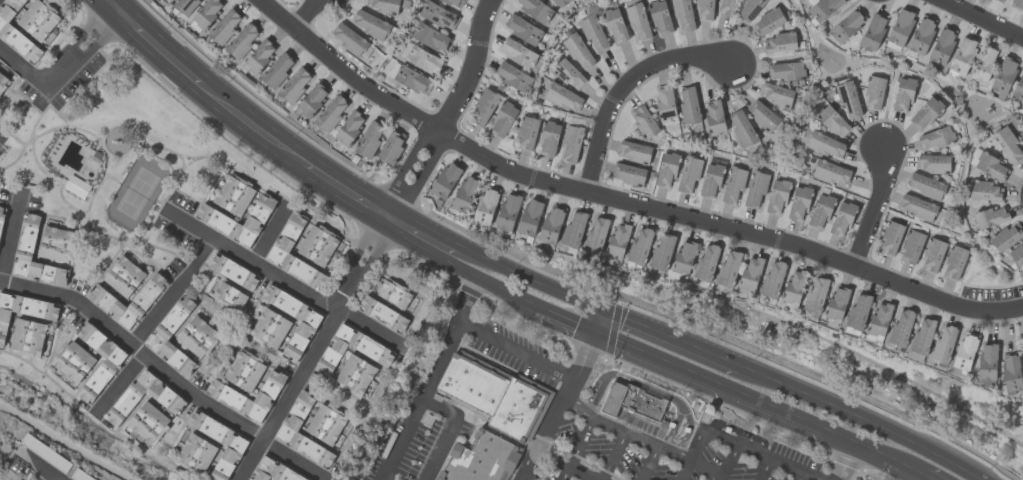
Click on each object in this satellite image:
building: (1003, 1)
building: (561, 2)
building: (454, 3)
road: (111, 5)
building: (1017, 5)
building: (185, 6)
building: (383, 6)
building: (726, 7)
rooftop solar panel: (817, 7)
building: (535, 9)
building: (750, 9)
building: (823, 9)
building: (704, 10)
building: (207, 12)
road: (306, 14)
rooftop solar panel: (454, 14)
building: (683, 15)
building: (438, 16)
building: (660, 18)
rooftop solar panel: (439, 19)
building: (39, 20)
road: (980, 20)
building: (637, 21)
rooftop solar panel: (451, 22)
building: (767, 22)
building: (370, 24)
building: (615, 25)
building: (846, 26)
building: (901, 27)
building: (224, 28)
building: (523, 30)
building: (16, 33)
building: (873, 33)
building: (593, 34)
building: (921, 36)
building: (430, 38)
building: (349, 39)
building: (242, 41)
building: (780, 43)
building: (942, 46)
road: (81, 47)
road: (159, 48)
building: (578, 52)
building: (520, 55)
building: (260, 56)
building: (962, 56)
building: (423, 60)
building: (984, 65)
road: (22, 67)
building: (278, 70)
building: (786, 71)
building: (568, 74)
building: (1004, 76)
building: (513, 77)
building: (412, 80)
building: (3, 81)
building: (295, 85)
road: (625, 88)
building: (1019, 88)
building: (874, 92)
building: (776, 95)
building: (903, 95)
building: (563, 97)
rooftop solar panel: (845, 97)
building: (312, 99)
building: (848, 99)
building: (665, 102)
building: (688, 105)
building: (483, 107)
building: (331, 113)
road: (452, 113)
building: (925, 113)
building: (762, 116)
building: (714, 117)
building: (502, 120)
building: (832, 121)
building: (644, 122)
road: (252, 126)
building: (350, 128)
building: (742, 129)
building: (1022, 130)
building: (527, 133)
building: (935, 138)
building: (369, 139)
building: (549, 139)
building: (571, 144)
building: (826, 145)
building: (1008, 145)
building: (392, 147)
building: (635, 152)
building: (933, 163)
building: (991, 167)
building: (666, 170)
building: (831, 173)
building: (629, 174)
building: (688, 175)
building: (446, 180)
building: (711, 181)
building: (733, 186)
building: (925, 186)
building: (76, 187)
building: (755, 190)
road: (347, 191)
building: (984, 191)
building: (234, 195)
building: (465, 195)
building: (777, 197)
building: (799, 204)
road: (619, 205)
building: (486, 206)
building: (917, 207)
building: (820, 211)
road: (876, 211)
building: (508, 212)
building: (1, 213)
building: (530, 218)
building: (990, 218)
building: (842, 219)
building: (218, 222)
building: (551, 226)
building: (574, 230)
road: (271, 234)
building: (596, 235)
building: (287, 237)
road: (423, 237)
building: (1006, 237)
building: (891, 238)
building: (26, 240)
building: (619, 240)
road: (10, 241)
building: (56, 244)
building: (317, 245)
building: (640, 247)
building: (912, 247)
building: (662, 253)
building: (933, 256)
building: (1017, 256)
building: (684, 258)
building: (954, 263)
road: (365, 264)
building: (706, 264)
building: (729, 268)
building: (233, 272)
building: (751, 274)
building: (123, 276)
road: (282, 278)
road: (530, 278)
building: (773, 280)
road: (492, 285)
building: (795, 287)
road: (174, 294)
building: (815, 295)
building: (397, 296)
building: (228, 297)
building: (106, 303)
building: (837, 304)
building: (26, 308)
traffic signals: (604, 310)
building: (858, 312)
building: (383, 315)
building: (880, 319)
road: (567, 320)
road: (600, 321)
building: (170, 323)
building: (269, 329)
building: (901, 329)
traffic signals: (597, 333)
building: (922, 336)
building: (198, 337)
road: (606, 337)
building: (27, 338)
building: (300, 338)
road: (670, 338)
building: (2, 341)
building: (944, 345)
road: (136, 349)
building: (352, 350)
road: (519, 352)
building: (965, 352)
building: (1022, 352)
building: (73, 362)
building: (987, 362)
building: (244, 371)
building: (1011, 374)
building: (355, 375)
building: (101, 377)
road: (120, 385)
building: (475, 386)
road: (736, 391)
road: (289, 394)
building: (165, 396)
building: (229, 397)
building: (616, 400)
road: (420, 401)
building: (645, 404)
road: (559, 406)
building: (518, 411)
building: (296, 416)
road: (860, 419)
building: (148, 423)
building: (326, 424)
road: (452, 431)
road: (625, 431)
building: (234, 443)
road: (748, 445)
road: (578, 447)
road: (870, 450)
building: (195, 455)
road: (614, 456)
road: (293, 460)
building: (484, 460)
road: (730, 461)
road: (847, 461)
road: (569, 463)
road: (651, 463)
road: (904, 466)
road: (765, 468)
road: (685, 470)
building: (272, 471)
road: (799, 475)
road: (45, 476)
road: (927, 478)
building: (863, 479)

